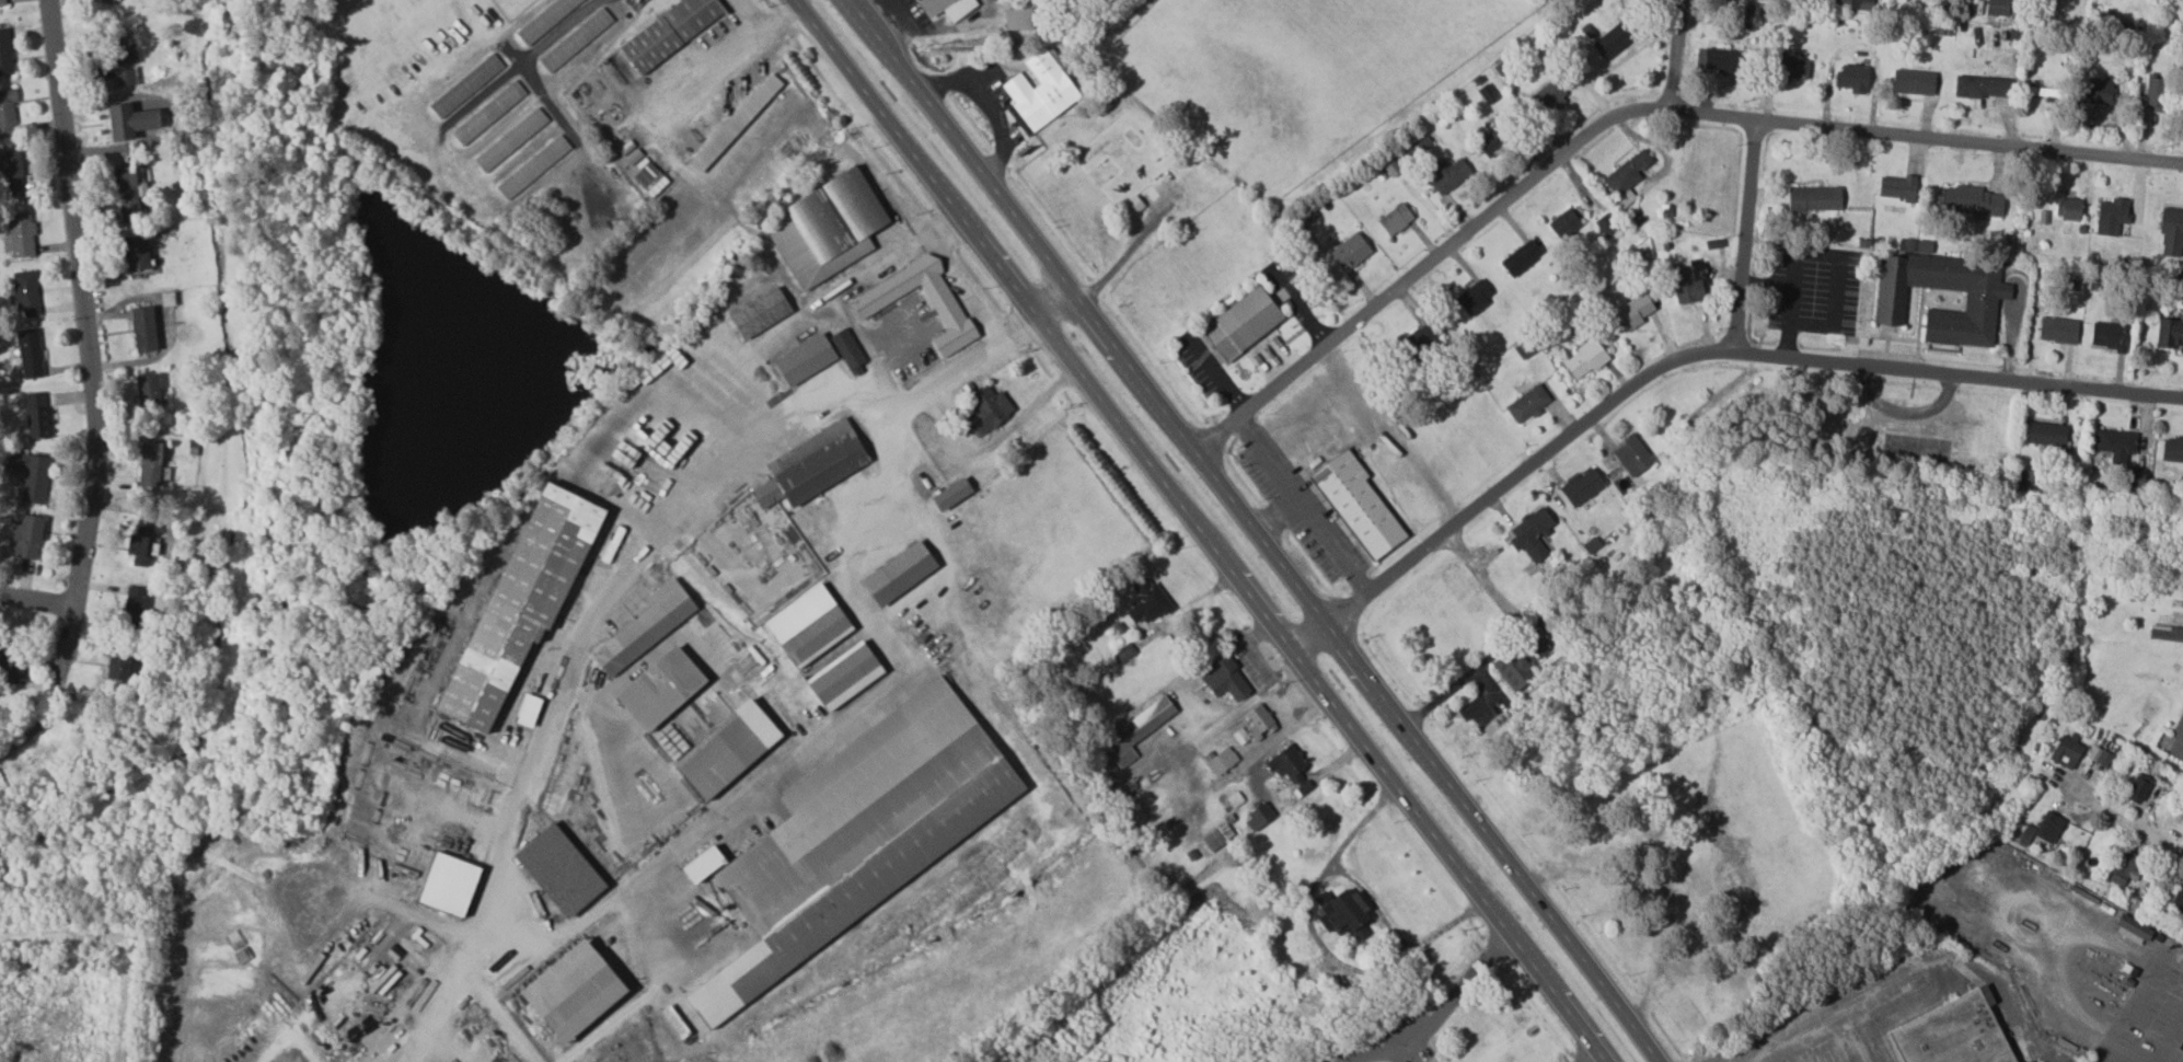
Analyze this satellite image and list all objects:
building: (1, 2)
building: (1852, 4)
building: (946, 8)
building: (1997, 8)
building: (1017, 19)
building: (544, 20)
road: (765, 23)
building: (668, 32)
building: (575, 41)
building: (1612, 42)
building: (117, 48)
building: (4, 53)
road: (1670, 57)
building: (1721, 60)
road: (707, 67)
building: (1791, 69)
building: (124, 78)
building: (1852, 78)
building: (1913, 82)
building: (464, 85)
building: (1982, 86)
building: (1038, 91)
building: (2097, 91)
building: (2155, 92)
building: (2043, 93)
building: (1548, 96)
building: (7, 111)
building: (487, 113)
road: (1635, 113)
building: (128, 122)
building: (734, 124)
building: (509, 140)
building: (1485, 141)
building: (532, 168)
building: (1390, 168)
building: (10, 172)
building: (1447, 175)
building: (1626, 176)
building: (649, 180)
building: (1897, 187)
building: (128, 188)
building: (1814, 199)
building: (1971, 200)
building: (1131, 206)
building: (2068, 208)
building: (2112, 216)
building: (1395, 219)
building: (1567, 221)
building: (1605, 226)
building: (827, 228)
building: (2171, 233)
building: (20, 234)
road: (1743, 241)
building: (1713, 243)
building: (1924, 246)
building: (1350, 252)
building: (134, 253)
building: (1520, 258)
road: (955, 277)
building: (1689, 282)
building: (24, 293)
building: (1474, 297)
road: (1791, 300)
building: (1979, 304)
building: (946, 309)
building: (758, 313)
building: (1630, 313)
building: (1247, 326)
building: (142, 330)
building: (2058, 330)
building: (2170, 334)
building: (2109, 335)
building: (1419, 339)
building: (847, 353)
building: (28, 354)
road: (88, 357)
road: (1691, 357)
building: (802, 360)
building: (1584, 360)
building: (147, 392)
building: (1526, 404)
building: (986, 411)
building: (35, 415)
building: (2046, 434)
building: (2115, 445)
building: (2172, 450)
building: (624, 453)
building: (1631, 455)
building: (148, 464)
building: (810, 465)
building: (30, 476)
building: (2023, 477)
building: (2135, 478)
building: (1581, 487)
building: (949, 495)
building: (1355, 506)
road: (1305, 509)
road: (1281, 517)
road: (1261, 531)
road: (1206, 532)
building: (1532, 535)
building: (24, 538)
building: (140, 546)
road: (631, 554)
building: (897, 575)
road: (36, 596)
building: (520, 601)
building: (1146, 602)
building: (135, 608)
building: (805, 625)
building: (643, 628)
building: (2165, 633)
road: (1509, 637)
building: (1124, 654)
building: (11, 665)
building: (115, 669)
building: (1513, 670)
building: (841, 674)
building: (1223, 679)
building: (658, 690)
building: (1258, 723)
road: (27, 736)
building: (1239, 736)
building: (1130, 737)
road: (2175, 740)
building: (725, 750)
building: (2066, 752)
building: (1221, 761)
building: (1289, 769)
building: (2138, 789)
building: (1258, 818)
road: (2127, 820)
building: (2042, 829)
building: (1216, 836)
building: (701, 866)
building: (2124, 869)
building: (558, 870)
building: (2178, 898)
building: (1342, 914)
building: (2132, 930)
road: (2122, 947)
road: (1911, 984)
building: (569, 993)
road: (1444, 1008)
building: (673, 1023)
building: (1944, 1038)
building: (2181, 1047)
road: (1596, 1055)

